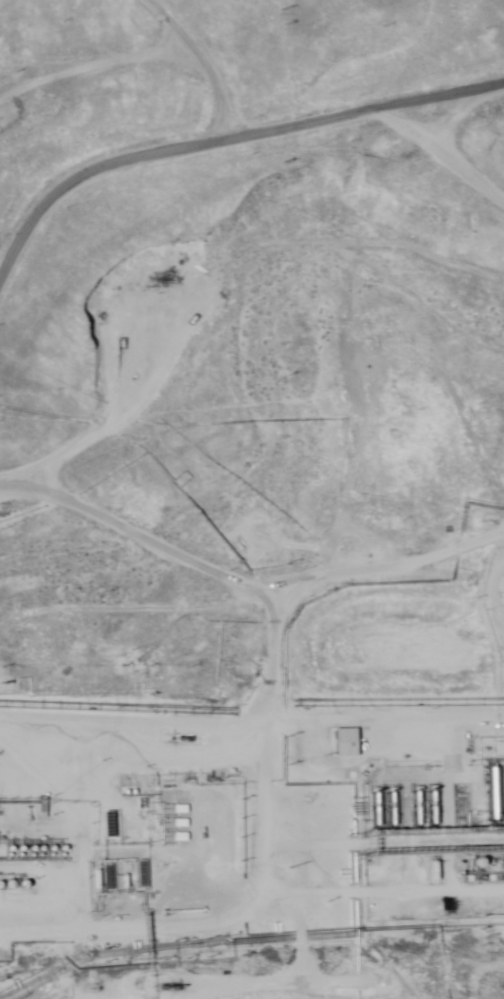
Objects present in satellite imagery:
road: (107, 76)
road: (52, 85)
road: (229, 145)
road: (466, 157)
road: (210, 240)
road: (265, 503)
road: (242, 605)
road: (367, 726)
building: (345, 743)
road: (253, 942)
road: (85, 969)

